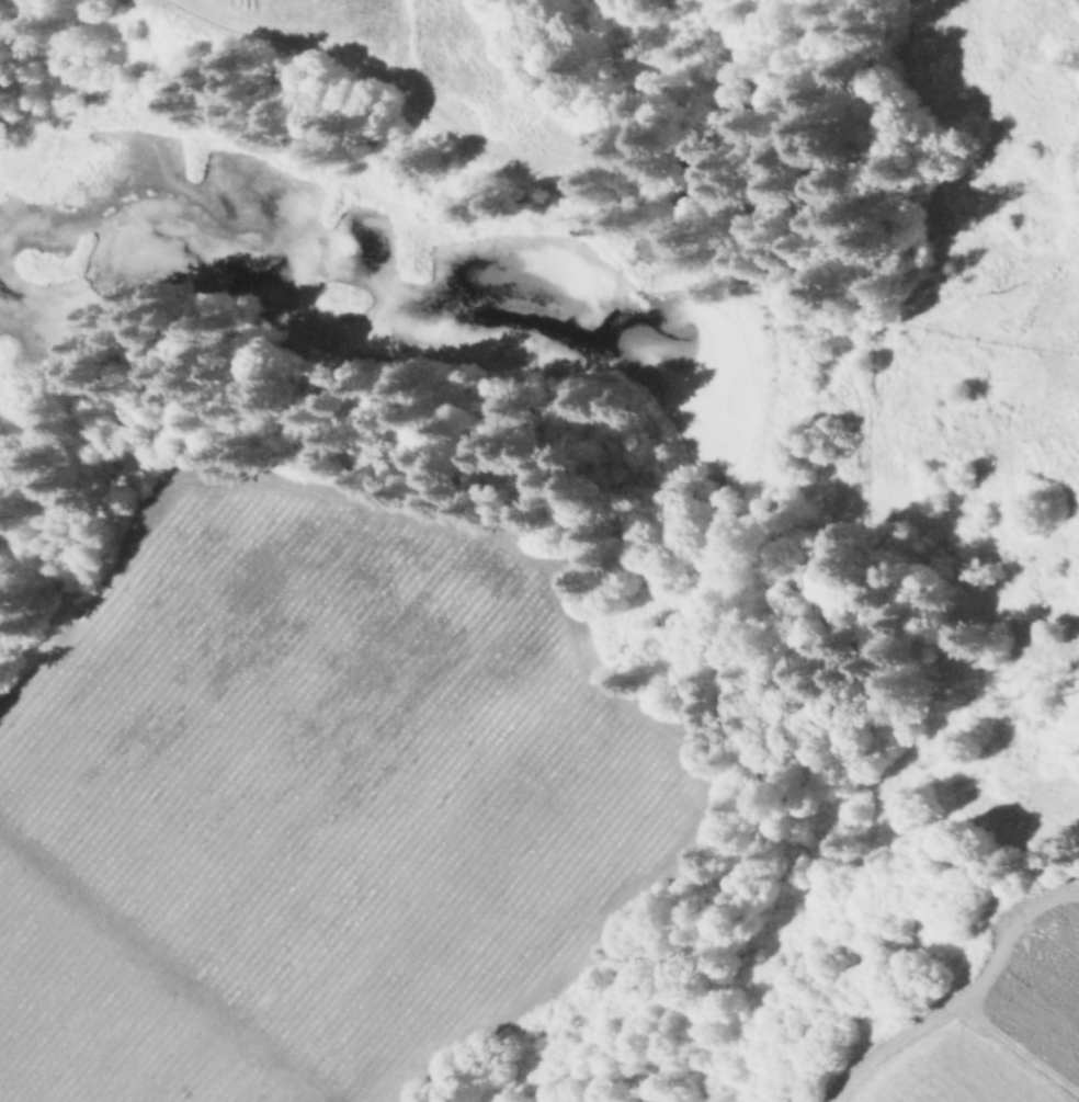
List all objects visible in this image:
crop: (373, 53)
crop: (302, 803)
road: (957, 997)
crop: (1002, 1020)

